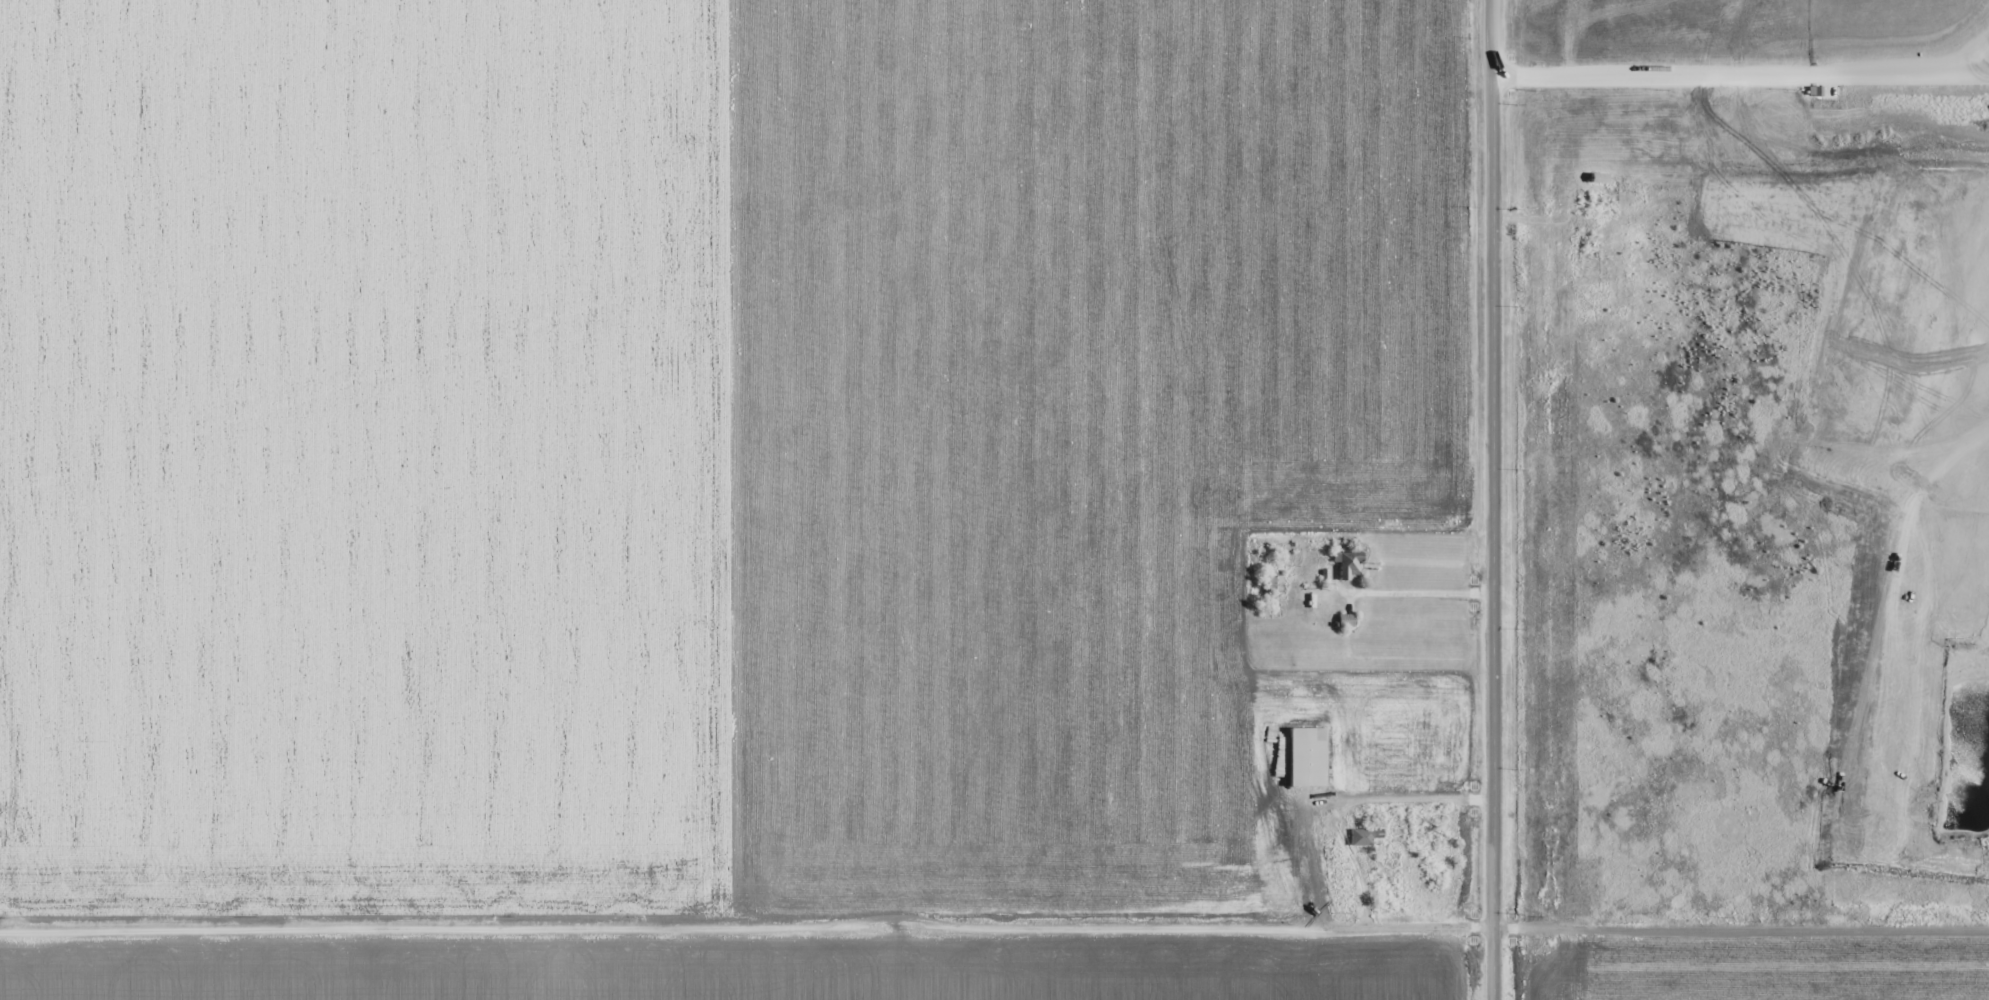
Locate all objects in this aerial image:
road: (1488, 499)
building: (1348, 564)
building: (1305, 757)
building: (1392, 840)
road: (994, 922)

